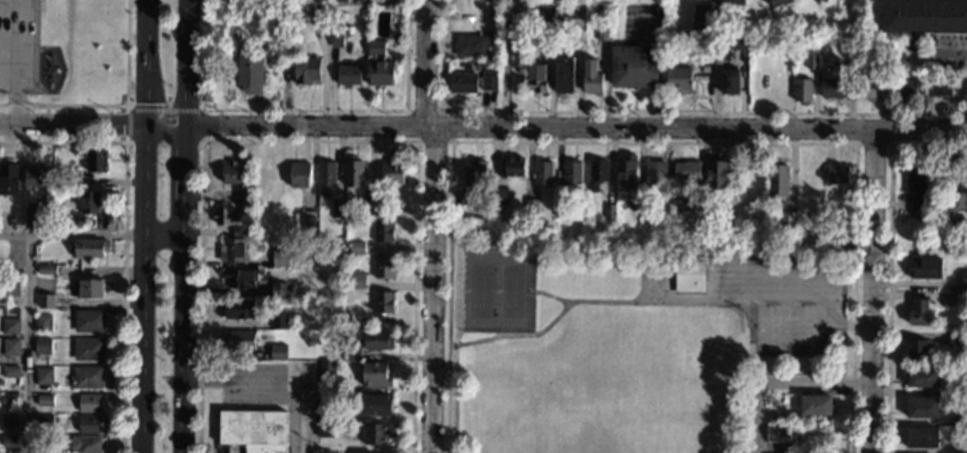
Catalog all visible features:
building: (339, 0)
building: (273, 1)
building: (823, 1)
building: (734, 2)
building: (779, 2)
park: (20, 3)
building: (573, 9)
building: (488, 14)
building: (319, 15)
building: (544, 15)
building: (924, 16)
building: (701, 19)
building: (602, 32)
building: (545, 34)
building: (336, 38)
building: (737, 41)
building: (913, 43)
building: (471, 44)
building: (881, 44)
road: (952, 52)
building: (715, 56)
building: (811, 61)
road: (148, 62)
road: (187, 63)
building: (379, 65)
building: (634, 66)
building: (307, 69)
building: (249, 70)
building: (563, 74)
building: (348, 75)
building: (592, 77)
building: (536, 78)
building: (678, 79)
building: (730, 81)
building: (471, 82)
building: (964, 87)
building: (833, 88)
building: (904, 88)
building: (938, 88)
building: (801, 89)
building: (868, 89)
road: (115, 104)
road: (146, 105)
road: (304, 109)
road: (647, 111)
road: (73, 125)
road: (167, 126)
road: (577, 126)
road: (179, 140)
road: (308, 140)
road: (450, 141)
road: (651, 142)
road: (856, 144)
building: (96, 160)
building: (511, 166)
building: (686, 170)
building: (232, 172)
building: (326, 172)
building: (353, 172)
building: (392, 172)
building: (542, 172)
building: (572, 172)
building: (626, 172)
building: (717, 173)
building: (838, 173)
building: (299, 174)
building: (597, 174)
building: (35, 175)
building: (655, 176)
building: (72, 178)
building: (10, 179)
building: (471, 180)
building: (778, 180)
road: (146, 182)
road: (185, 183)
building: (914, 187)
building: (242, 196)
building: (499, 196)
building: (954, 201)
building: (90, 203)
building: (680, 205)
building: (369, 207)
building: (531, 207)
building: (561, 208)
building: (54, 210)
building: (338, 210)
building: (609, 211)
building: (224, 215)
building: (33, 216)
building: (46, 219)
building: (309, 219)
building: (786, 219)
building: (713, 222)
road: (433, 225)
building: (384, 231)
building: (239, 232)
road: (124, 235)
road: (73, 237)
road: (165, 240)
building: (833, 241)
building: (357, 247)
building: (90, 249)
building: (232, 250)
building: (280, 258)
road: (888, 260)
building: (384, 267)
building: (924, 267)
building: (47, 269)
building: (688, 274)
building: (242, 277)
building: (964, 278)
building: (357, 280)
building: (10, 287)
building: (89, 289)
building: (279, 290)
park: (482, 290)
park: (514, 291)
road: (872, 291)
road: (553, 296)
building: (46, 301)
building: (383, 302)
road: (643, 302)
building: (265, 305)
building: (240, 309)
building: (918, 312)
building: (89, 321)
building: (282, 321)
building: (42, 322)
building: (10, 326)
park: (774, 330)
park: (808, 330)
building: (954, 337)
building: (238, 339)
building: (378, 339)
road: (29, 345)
building: (42, 345)
road: (144, 346)
building: (11, 347)
road: (184, 347)
building: (88, 349)
building: (916, 349)
building: (351, 351)
building: (278, 352)
building: (10, 371)
building: (327, 372)
building: (376, 375)
building: (44, 376)
building: (922, 376)
building: (88, 377)
building: (1, 383)
road: (781, 383)
building: (960, 386)
building: (10, 399)
building: (45, 400)
building: (90, 403)
building: (375, 404)
building: (816, 405)
building: (922, 407)
building: (323, 409)
road: (306, 413)
building: (775, 414)
building: (961, 416)
building: (10, 419)
building: (44, 420)
building: (91, 424)
building: (324, 429)
building: (253, 430)
building: (778, 433)
building: (376, 434)
building: (922, 438)
building: (10, 441)
park: (507, 441)
building: (86, 444)
building: (323, 452)

